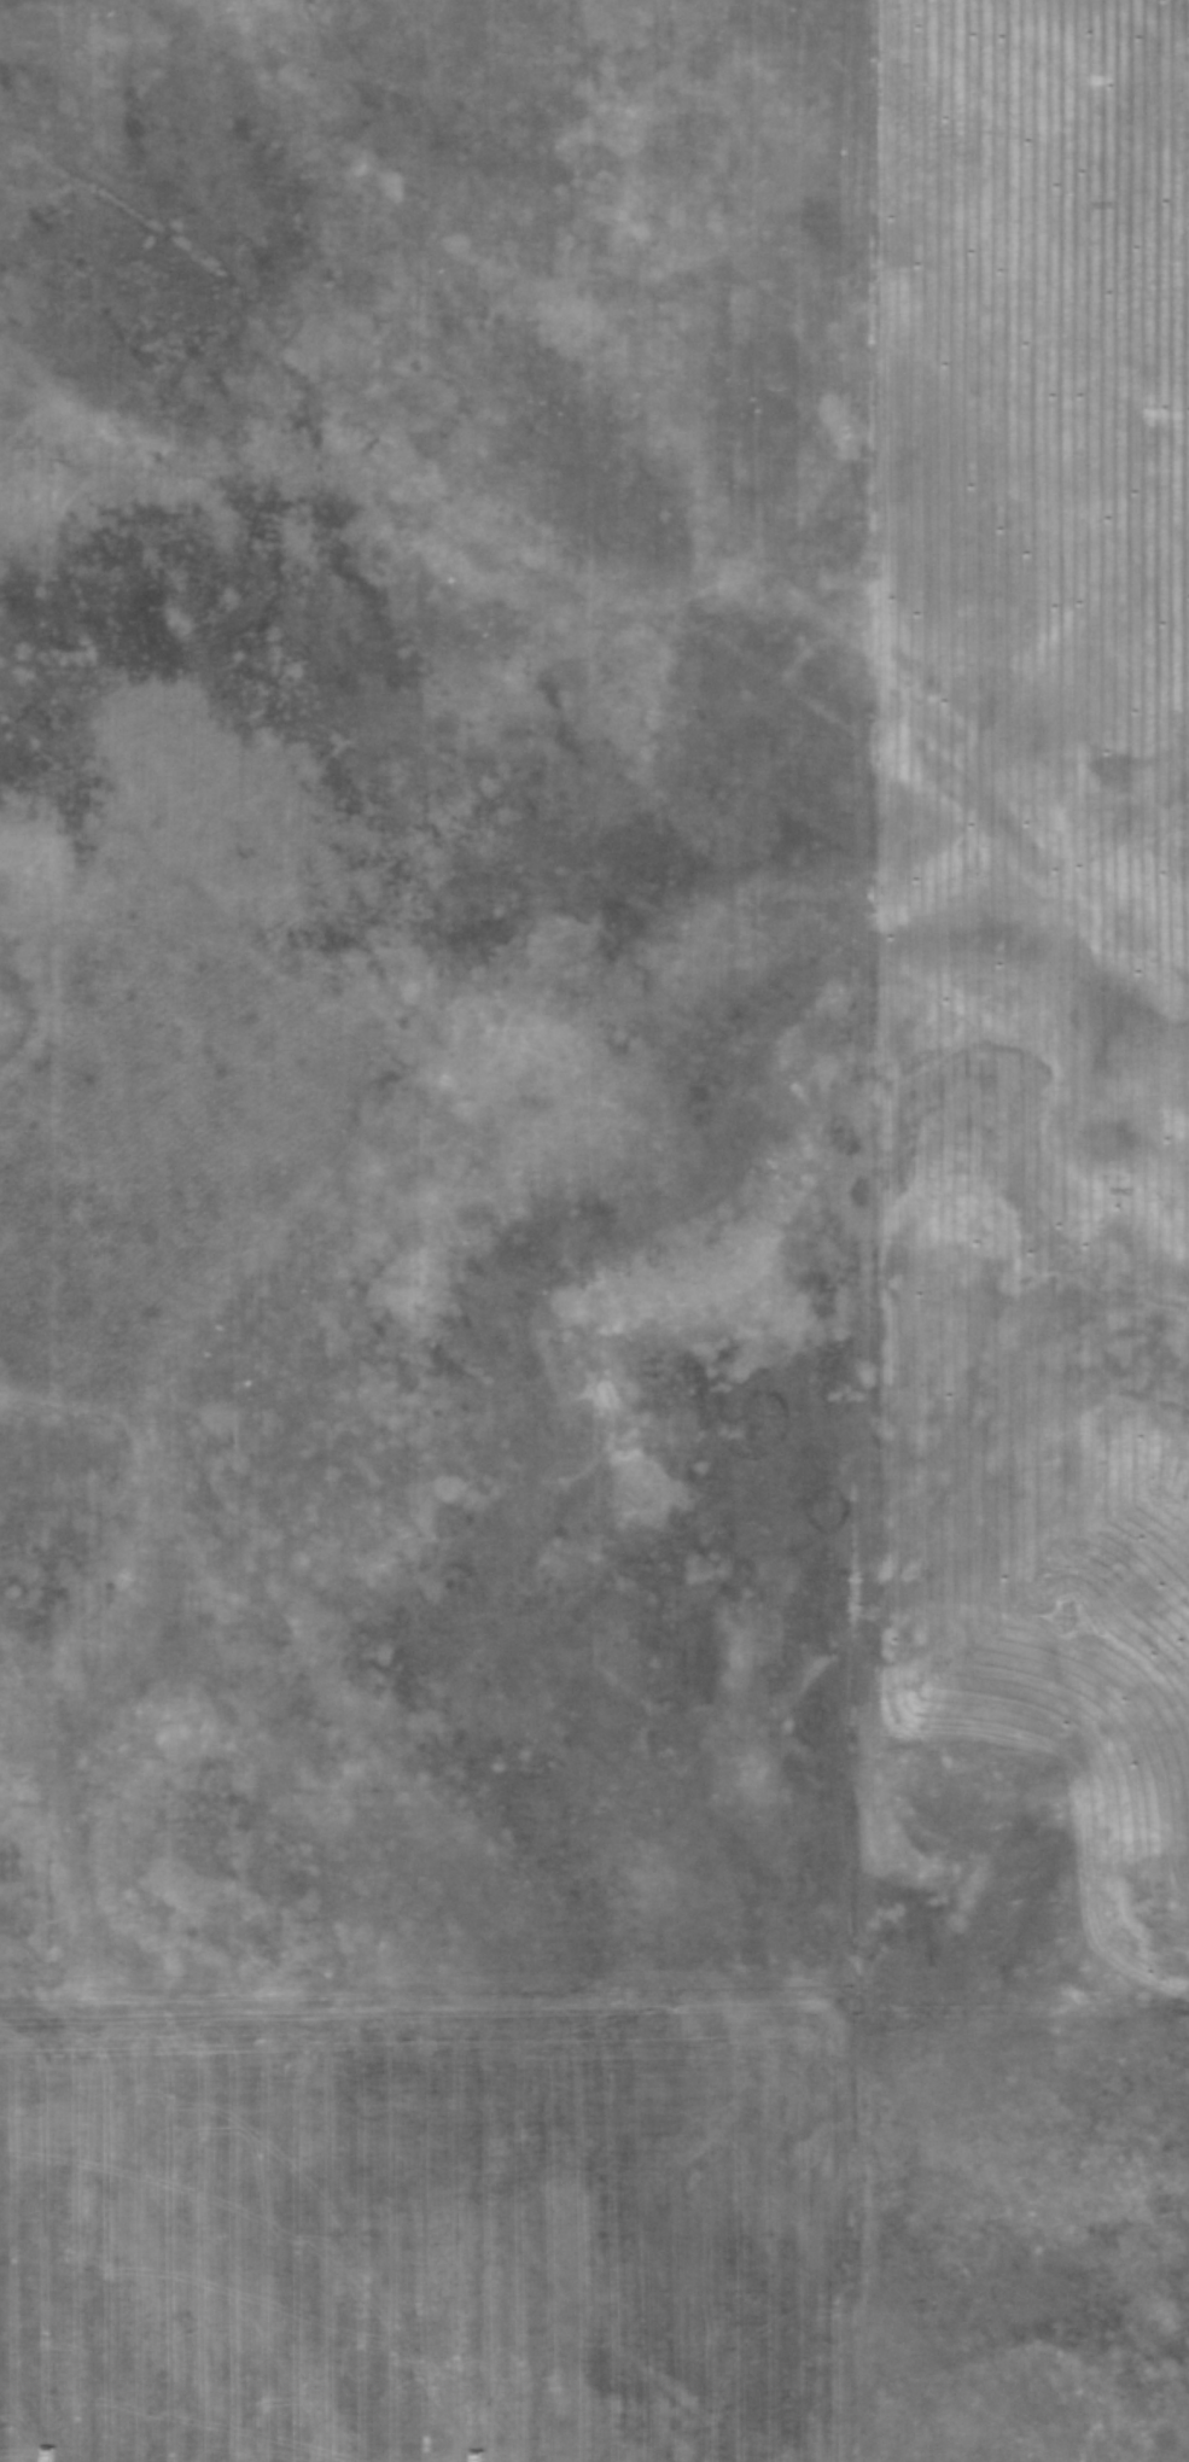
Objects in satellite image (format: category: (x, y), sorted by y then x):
road: (861, 1000)

